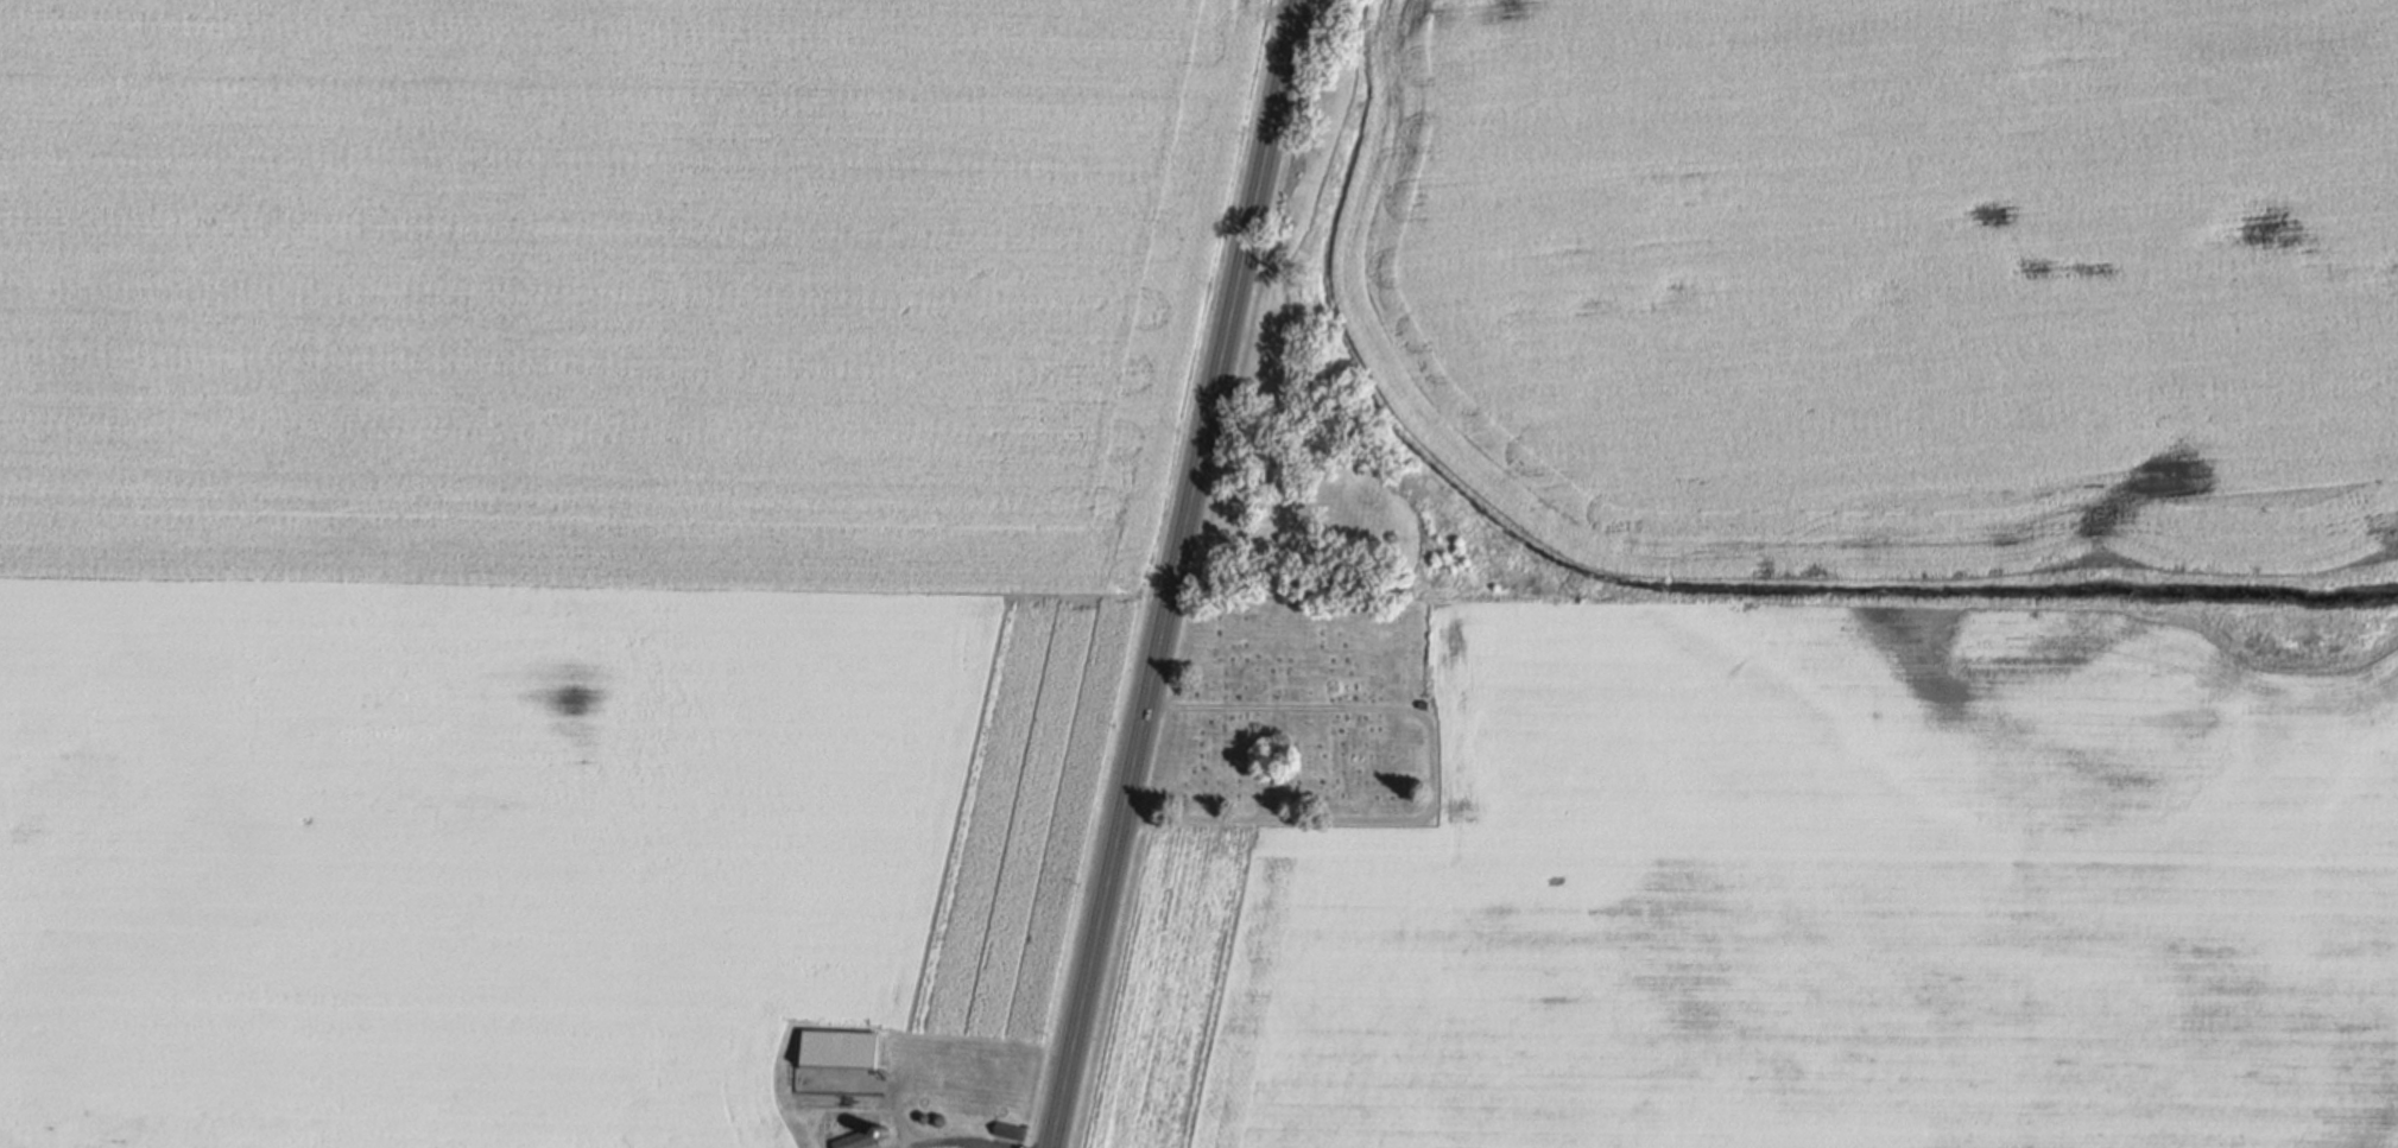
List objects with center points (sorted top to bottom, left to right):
crop: (1897, 279)
crop: (606, 288)
road: (1177, 573)
building: (1423, 704)
road: (1251, 706)
park: (1297, 710)
crop: (1798, 899)
building: (840, 1047)
building: (1011, 1130)
building: (858, 1139)

